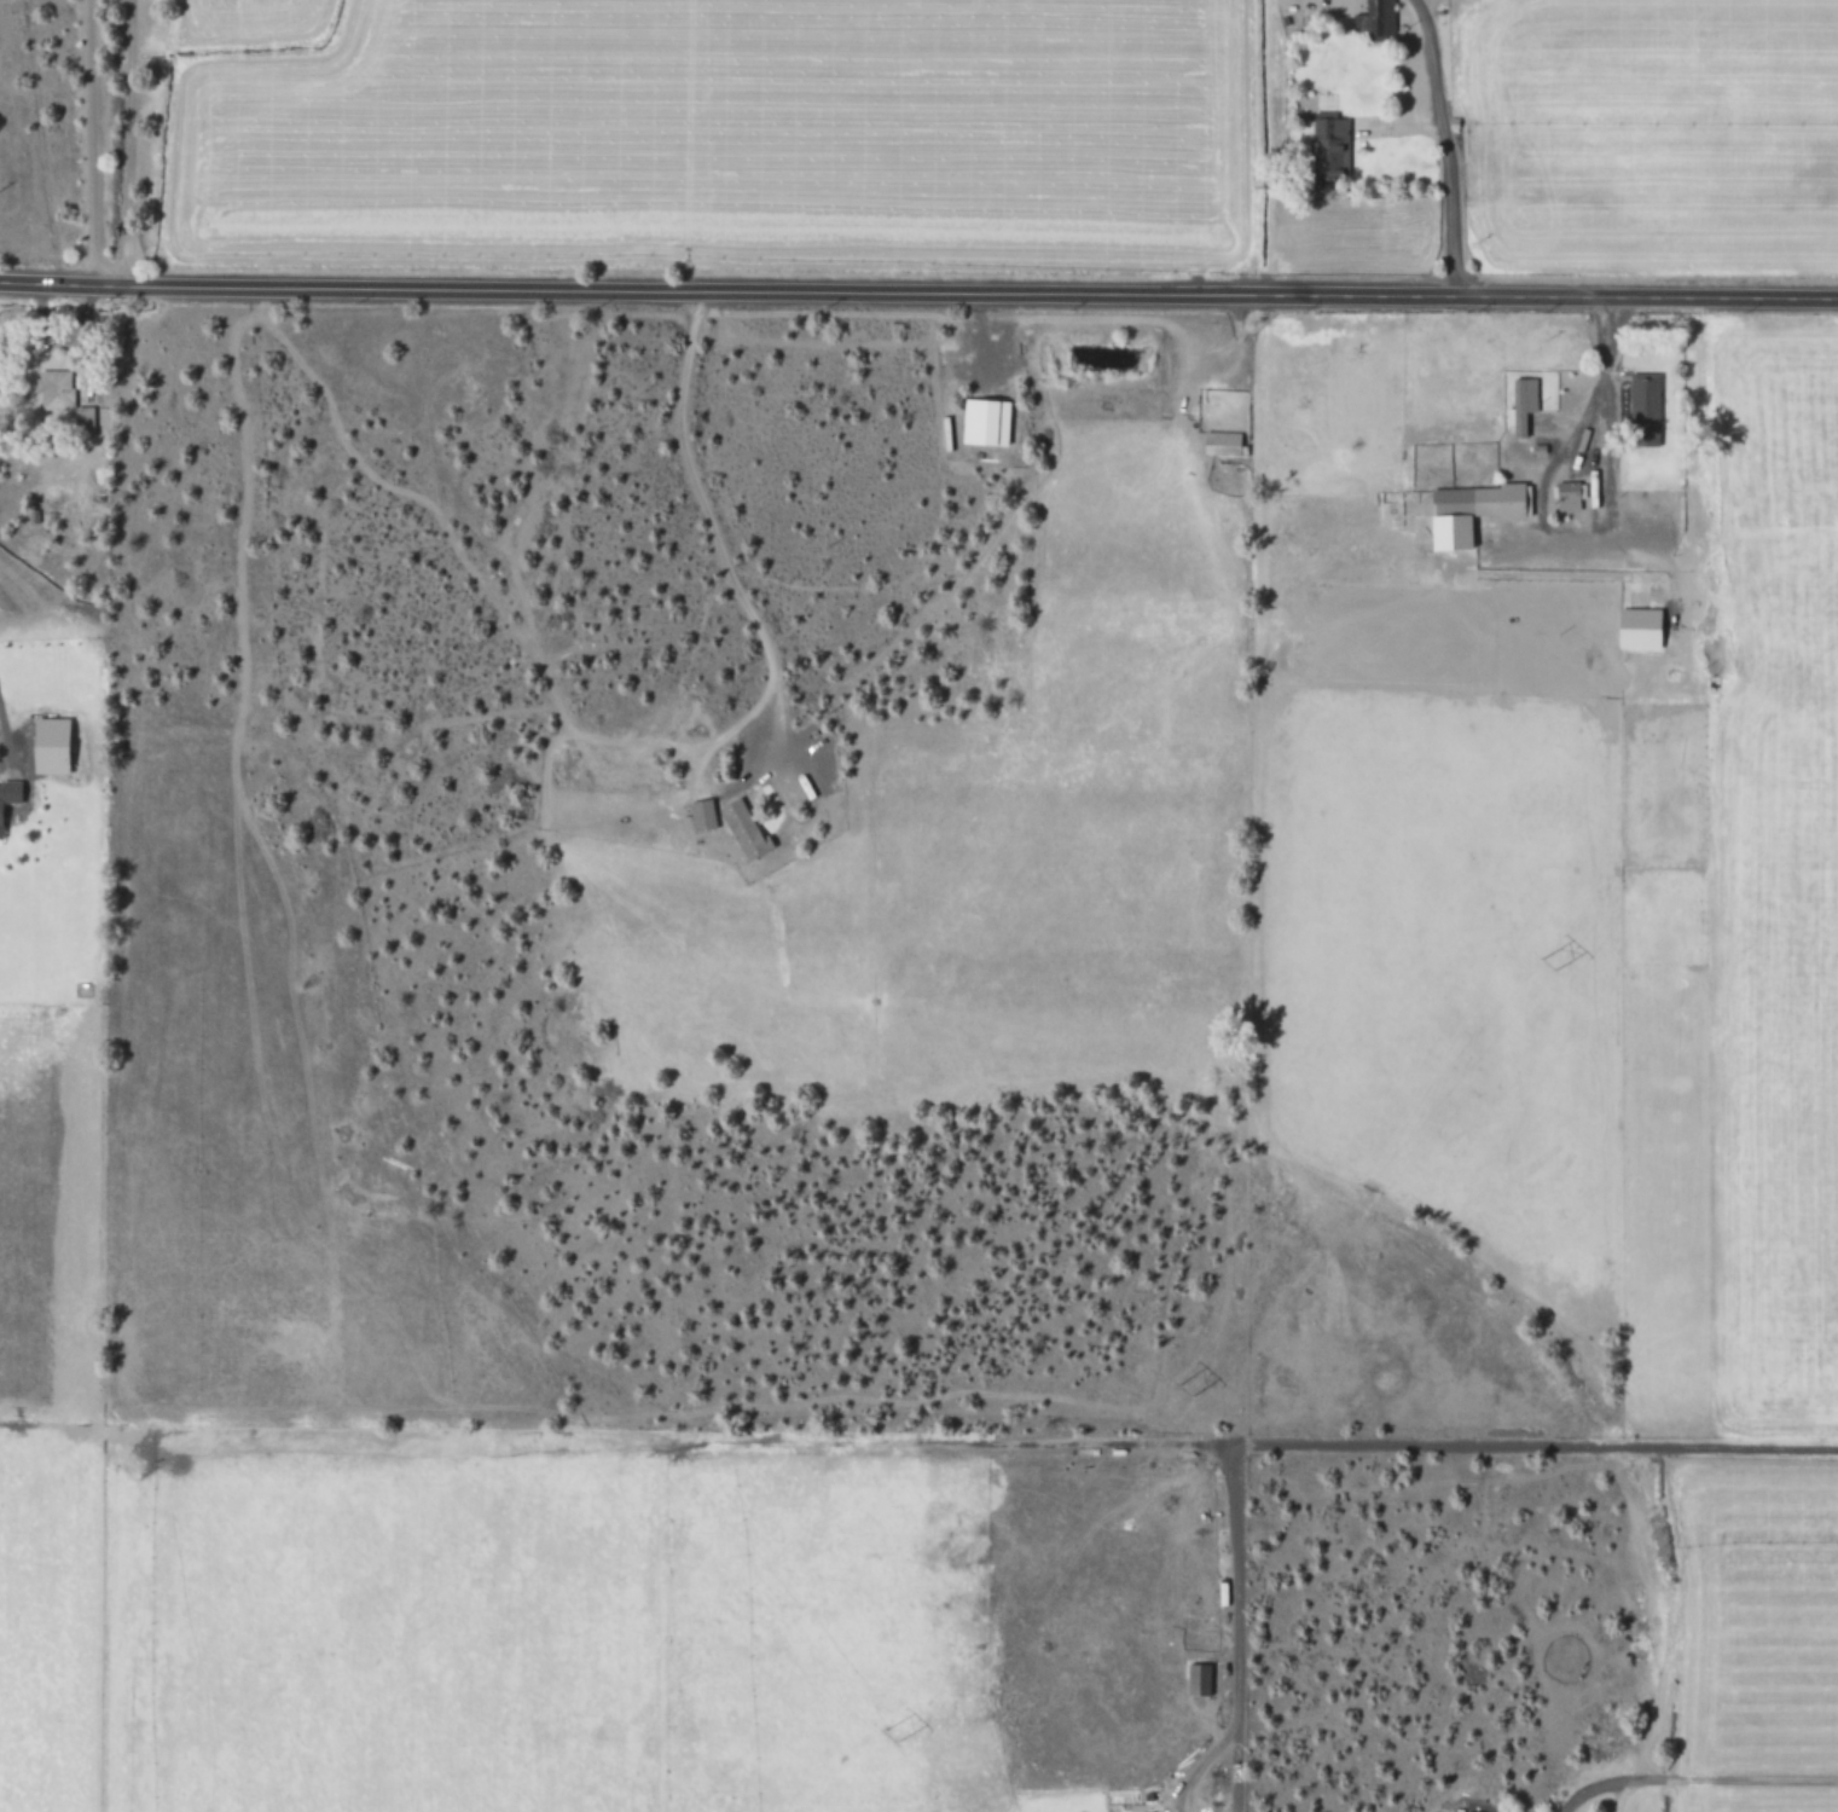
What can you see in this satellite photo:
building: (1374, 19)
crop: (982, 123)
road: (1437, 145)
building: (1327, 150)
road: (918, 291)
building: (52, 389)
building: (1520, 405)
building: (1642, 410)
building: (80, 418)
building: (982, 422)
building: (1220, 444)
building: (1566, 496)
building: (1467, 511)
building: (1636, 629)
road: (763, 641)
building: (47, 746)
building: (8, 792)
building: (698, 816)
building: (742, 830)
crop: (1211, 846)
power tower: (1552, 962)
crop: (1749, 1067)
power tower: (1184, 1391)
crop: (491, 1460)
building: (1196, 1680)
power tower: (889, 1735)

